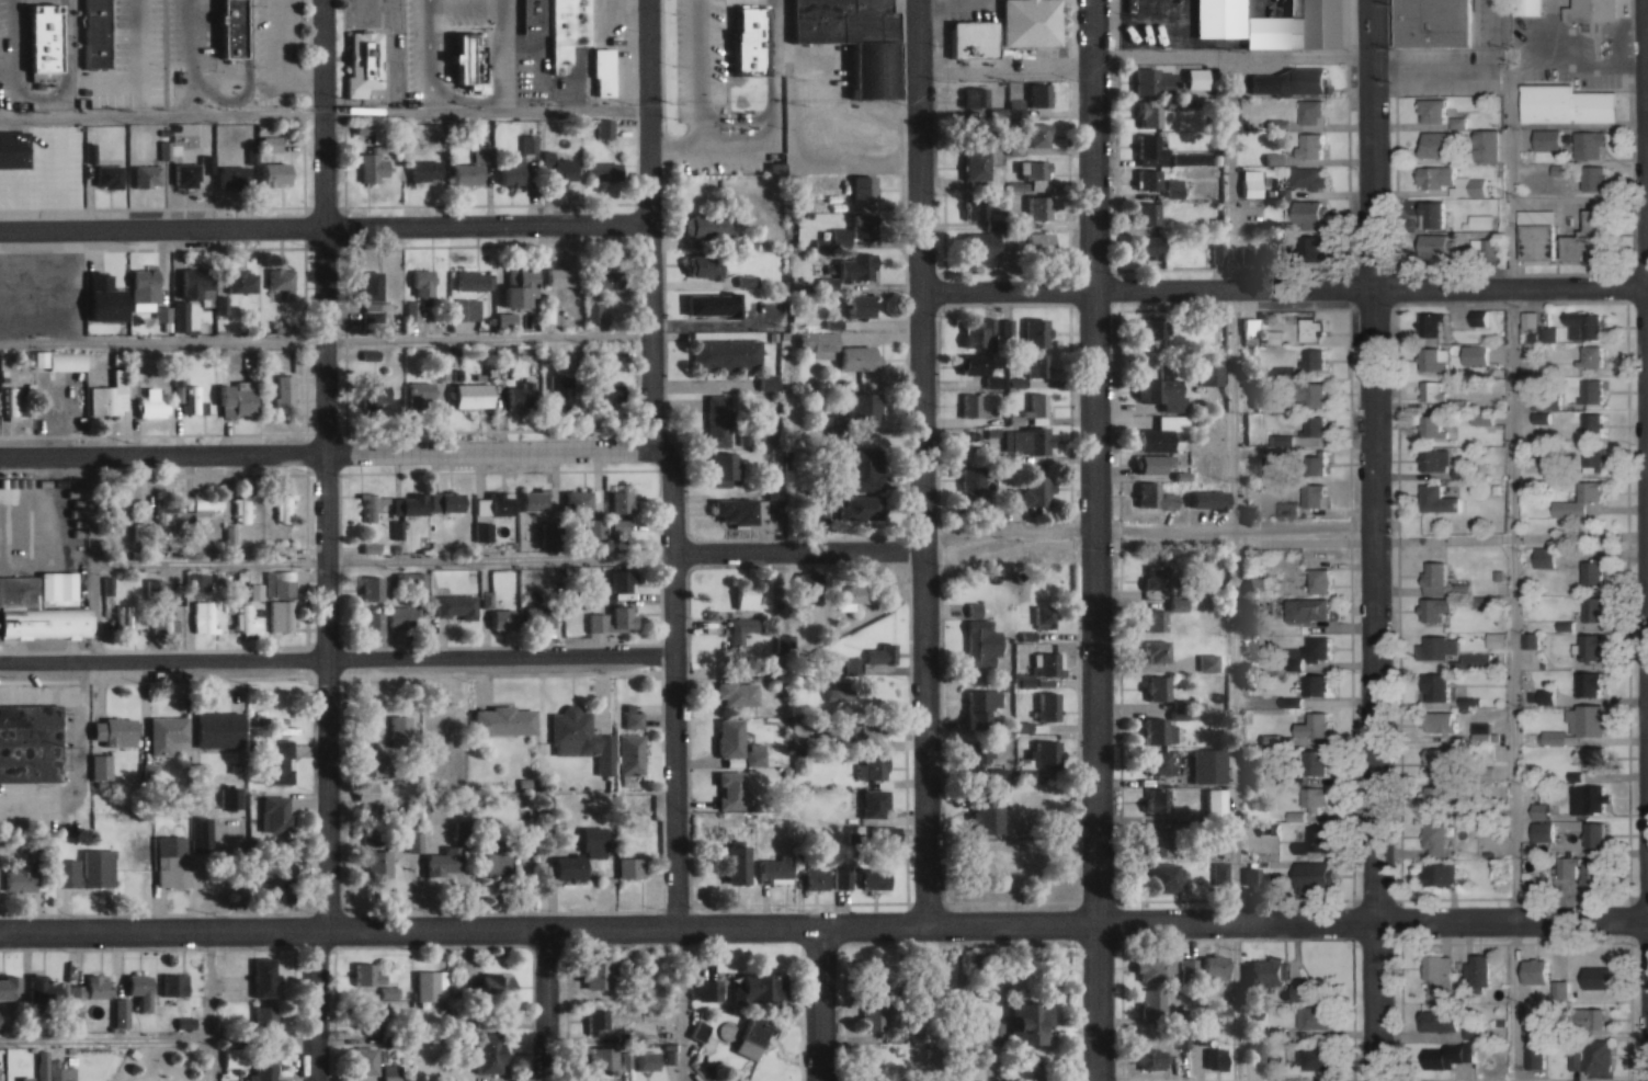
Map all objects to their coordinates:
building: (1531, 7)
building: (682, 12)
building: (1599, 13)
building: (751, 15)
building: (533, 16)
building: (1225, 21)
building: (1031, 22)
building: (1441, 26)
building: (1329, 27)
building: (235, 29)
building: (568, 31)
building: (100, 37)
building: (856, 39)
building: (975, 39)
building: (48, 47)
road: (427, 56)
building: (464, 58)
road: (1232, 59)
building: (366, 62)
building: (1196, 78)
building: (1157, 81)
building: (1288, 82)
building: (1041, 94)
building: (976, 95)
building: (1552, 109)
building: (1310, 112)
road: (489, 113)
building: (1440, 113)
building: (1150, 114)
building: (1039, 134)
building: (1547, 139)
building: (1437, 144)
building: (1311, 145)
building: (1488, 145)
building: (1589, 145)
building: (1149, 146)
building: (482, 152)
building: (206, 156)
building: (16, 158)
building: (978, 166)
building: (373, 167)
building: (559, 168)
building: (425, 170)
building: (606, 171)
building: (512, 172)
building: (275, 173)
building: (467, 173)
building: (109, 175)
building: (185, 175)
building: (1039, 175)
building: (146, 177)
building: (234, 177)
building: (1595, 178)
building: (1308, 179)
building: (1149, 180)
building: (1451, 181)
building: (1174, 186)
building: (864, 187)
building: (1039, 208)
building: (977, 213)
building: (1149, 213)
building: (1308, 213)
building: (1431, 214)
building: (706, 224)
road: (651, 225)
building: (864, 226)
road: (326, 227)
building: (1537, 235)
building: (1589, 238)
building: (1041, 242)
building: (981, 246)
building: (1152, 246)
building: (1435, 247)
building: (1311, 249)
building: (1484, 249)
building: (1248, 253)
building: (706, 264)
building: (859, 265)
building: (562, 275)
building: (609, 278)
building: (242, 280)
building: (471, 280)
building: (280, 281)
building: (198, 282)
building: (422, 282)
building: (145, 284)
building: (372, 284)
building: (521, 286)
road: (1286, 289)
building: (712, 304)
building: (861, 306)
building: (466, 308)
building: (411, 310)
building: (593, 311)
building: (376, 312)
building: (181, 316)
building: (1480, 317)
building: (1432, 323)
building: (1586, 323)
building: (1155, 327)
building: (1312, 329)
building: (1037, 331)
building: (978, 332)
road: (327, 341)
building: (819, 343)
building: (726, 353)
building: (1475, 354)
building: (1592, 356)
building: (372, 357)
building: (861, 357)
building: (1314, 360)
building: (1431, 360)
building: (66, 361)
building: (978, 363)
building: (1038, 365)
building: (441, 371)
building: (1209, 371)
building: (1158, 389)
building: (1433, 389)
building: (1592, 389)
building: (561, 390)
building: (285, 392)
building: (474, 394)
building: (609, 394)
building: (1309, 394)
building: (111, 395)
building: (422, 395)
building: (521, 396)
building: (237, 398)
building: (376, 398)
building: (8, 400)
building: (193, 400)
building: (152, 402)
building: (865, 405)
building: (971, 405)
building: (1037, 406)
building: (719, 421)
building: (1591, 424)
building: (838, 425)
building: (1431, 425)
building: (1315, 428)
building: (1162, 433)
building: (1281, 439)
building: (1033, 440)
road: (327, 453)
building: (1272, 454)
building: (1434, 458)
building: (1592, 458)
road: (924, 464)
building: (1156, 464)
road: (329, 465)
building: (727, 468)
building: (866, 468)
building: (975, 478)
building: (1039, 490)
building: (1316, 494)
building: (1157, 496)
building: (1215, 498)
building: (534, 499)
building: (1439, 499)
building: (447, 500)
building: (1579, 500)
building: (579, 501)
building: (622, 501)
building: (414, 503)
building: (495, 503)
building: (863, 507)
building: (206, 508)
building: (243, 508)
building: (282, 508)
building: (370, 508)
building: (163, 509)
building: (751, 510)
building: (618, 525)
road: (1150, 528)
building: (484, 532)
building: (552, 532)
road: (1376, 539)
road: (1509, 539)
road: (1094, 540)
road: (800, 553)
building: (1544, 557)
road: (98, 558)
road: (387, 559)
road: (1231, 570)
building: (1435, 571)
building: (1592, 571)
building: (1158, 578)
building: (410, 579)
building: (1320, 579)
building: (623, 580)
building: (197, 581)
building: (281, 582)
building: (812, 583)
building: (1257, 585)
building: (372, 588)
building: (255, 590)
building: (747, 595)
building: (852, 598)
building: (457, 605)
building: (1180, 605)
building: (160, 607)
building: (1436, 607)
building: (1593, 607)
building: (1309, 608)
building: (37, 613)
building: (537, 615)
building: (202, 616)
building: (281, 616)
building: (401, 616)
building: (1044, 616)
building: (123, 617)
building: (504, 617)
building: (614, 618)
building: (247, 619)
building: (1156, 619)
building: (373, 622)
building: (741, 631)
building: (982, 642)
building: (1437, 646)
building: (1593, 646)
building: (1158, 650)
building: (883, 652)
building: (1309, 652)
road: (338, 659)
building: (1208, 661)
building: (1045, 662)
building: (1591, 682)
road: (678, 683)
building: (1319, 683)
building: (1439, 685)
building: (1159, 686)
building: (840, 691)
building: (737, 693)
building: (1184, 704)
building: (1048, 705)
building: (982, 706)
building: (634, 719)
building: (1588, 719)
building: (505, 720)
building: (1442, 721)
building: (1315, 725)
building: (220, 728)
building: (871, 728)
building: (115, 731)
building: (1160, 731)
building: (391, 732)
building: (169, 736)
building: (584, 737)
building: (731, 737)
building: (1554, 737)
building: (32, 751)
building: (632, 753)
building: (757, 754)
building: (978, 756)
building: (1043, 758)
building: (1594, 758)
building: (280, 761)
building: (1318, 761)
building: (1157, 762)
building: (1439, 762)
building: (375, 764)
building: (1209, 765)
building: (101, 766)
building: (875, 766)
building: (150, 774)
building: (731, 789)
building: (368, 793)
building: (1433, 794)
building: (1316, 796)
building: (1588, 799)
building: (1158, 800)
building: (1216, 801)
building: (875, 804)
building: (1542, 810)
building: (276, 813)
building: (1543, 831)
building: (202, 833)
building: (1595, 833)
building: (886, 835)
building: (855, 838)
building: (1435, 838)
building: (1315, 840)
building: (1159, 841)
building: (414, 842)
building: (137, 845)
building: (1003, 846)
building: (498, 855)
building: (173, 861)
building: (446, 862)
building: (378, 863)
building: (739, 863)
building: (632, 866)
building: (570, 867)
building: (84, 869)
building: (776, 869)
building: (1583, 869)
building: (277, 872)
building: (1316, 874)
building: (1441, 874)
building: (21, 876)
building: (816, 876)
building: (843, 876)
building: (1166, 877)
building: (876, 878)
road: (823, 929)
building: (1217, 966)
building: (1156, 969)
building: (1189, 970)
building: (1477, 970)
building: (1437, 971)
building: (601, 974)
building: (1269, 974)
building: (1544, 976)
building: (264, 977)
building: (1599, 977)
building: (372, 981)
building: (174, 985)
building: (431, 985)
building: (497, 985)
building: (10, 987)
building: (761, 988)
building: (44, 989)
building: (140, 989)
building: (705, 990)
building: (1306, 991)
building: (88, 992)
building: (1155, 1003)
road: (687, 1004)
road: (822, 1004)
road: (549, 1005)
road: (211, 1006)
road: (318, 1006)
building: (121, 1013)
building: (1320, 1016)
building: (0, 1019)
building: (372, 1019)
building: (875, 1019)
building: (266, 1020)
building: (1593, 1020)
building: (1032, 1022)
building: (598, 1023)
building: (1442, 1023)
building: (1531, 1025)
building: (700, 1029)
building: (1473, 1029)
building: (752, 1036)
road: (105, 1038)
building: (1179, 1039)
building: (1257, 1051)
building: (490, 1052)
building: (1443, 1055)
building: (1532, 1055)
building: (1592, 1056)
building: (235, 1057)
building: (603, 1058)
building: (1151, 1058)
building: (1217, 1058)
building: (1318, 1058)
building: (368, 1060)
building: (649, 1060)
building: (264, 1066)
building: (64, 1073)
building: (393, 1073)

